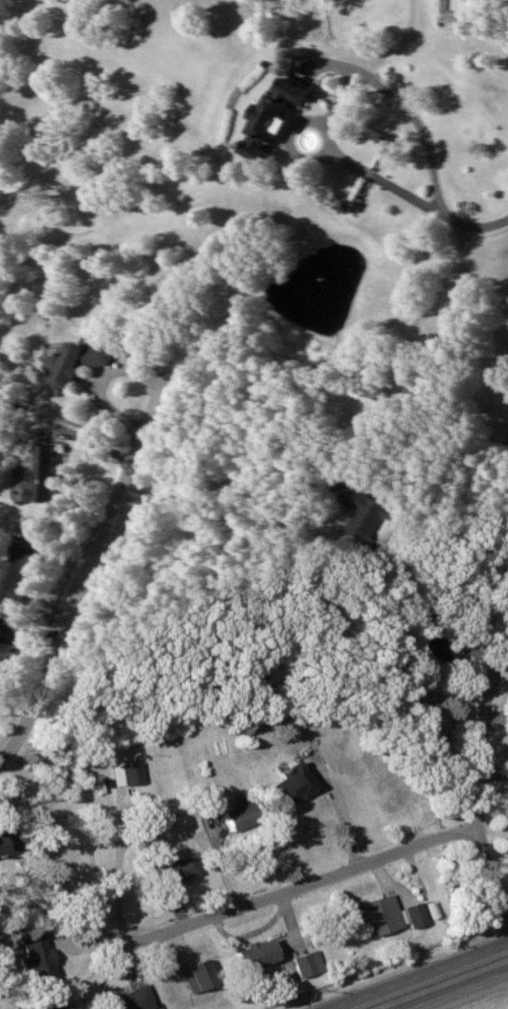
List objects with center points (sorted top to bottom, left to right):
building: (456, 5)
building: (268, 119)
road: (420, 125)
road: (402, 337)
building: (72, 362)
park: (247, 460)
building: (38, 471)
building: (361, 513)
road: (102, 527)
building: (12, 572)
building: (438, 649)
building: (2, 652)
building: (133, 775)
building: (287, 785)
road: (478, 786)
building: (236, 818)
building: (1, 852)
building: (174, 870)
road: (298, 884)
building: (386, 917)
building: (252, 955)
building: (34, 963)
building: (307, 964)
road: (421, 976)
building: (185, 980)
road: (458, 990)
building: (126, 1000)
building: (58, 1008)

